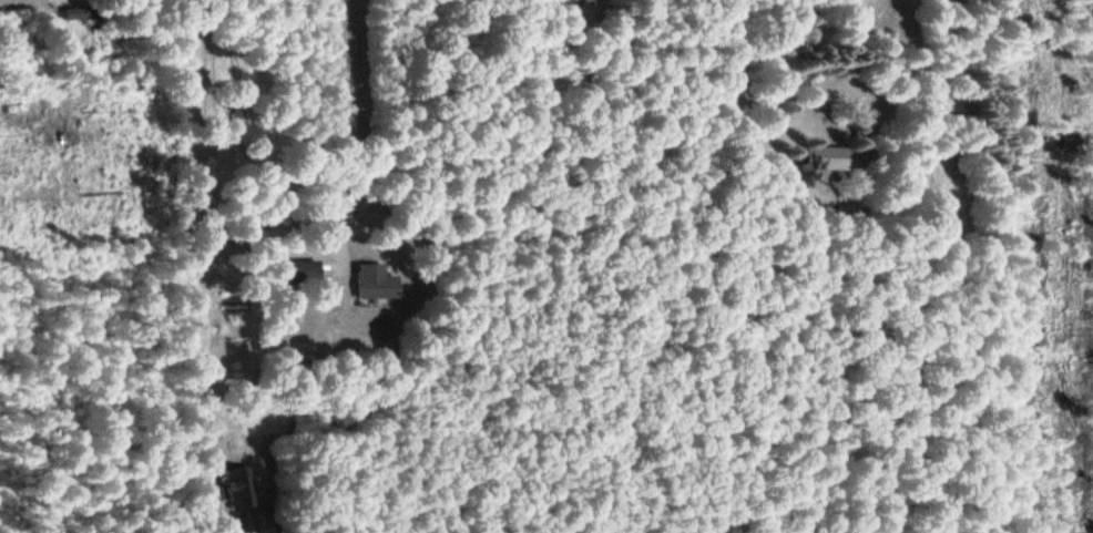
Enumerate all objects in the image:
building: (298, 271)
building: (371, 284)

